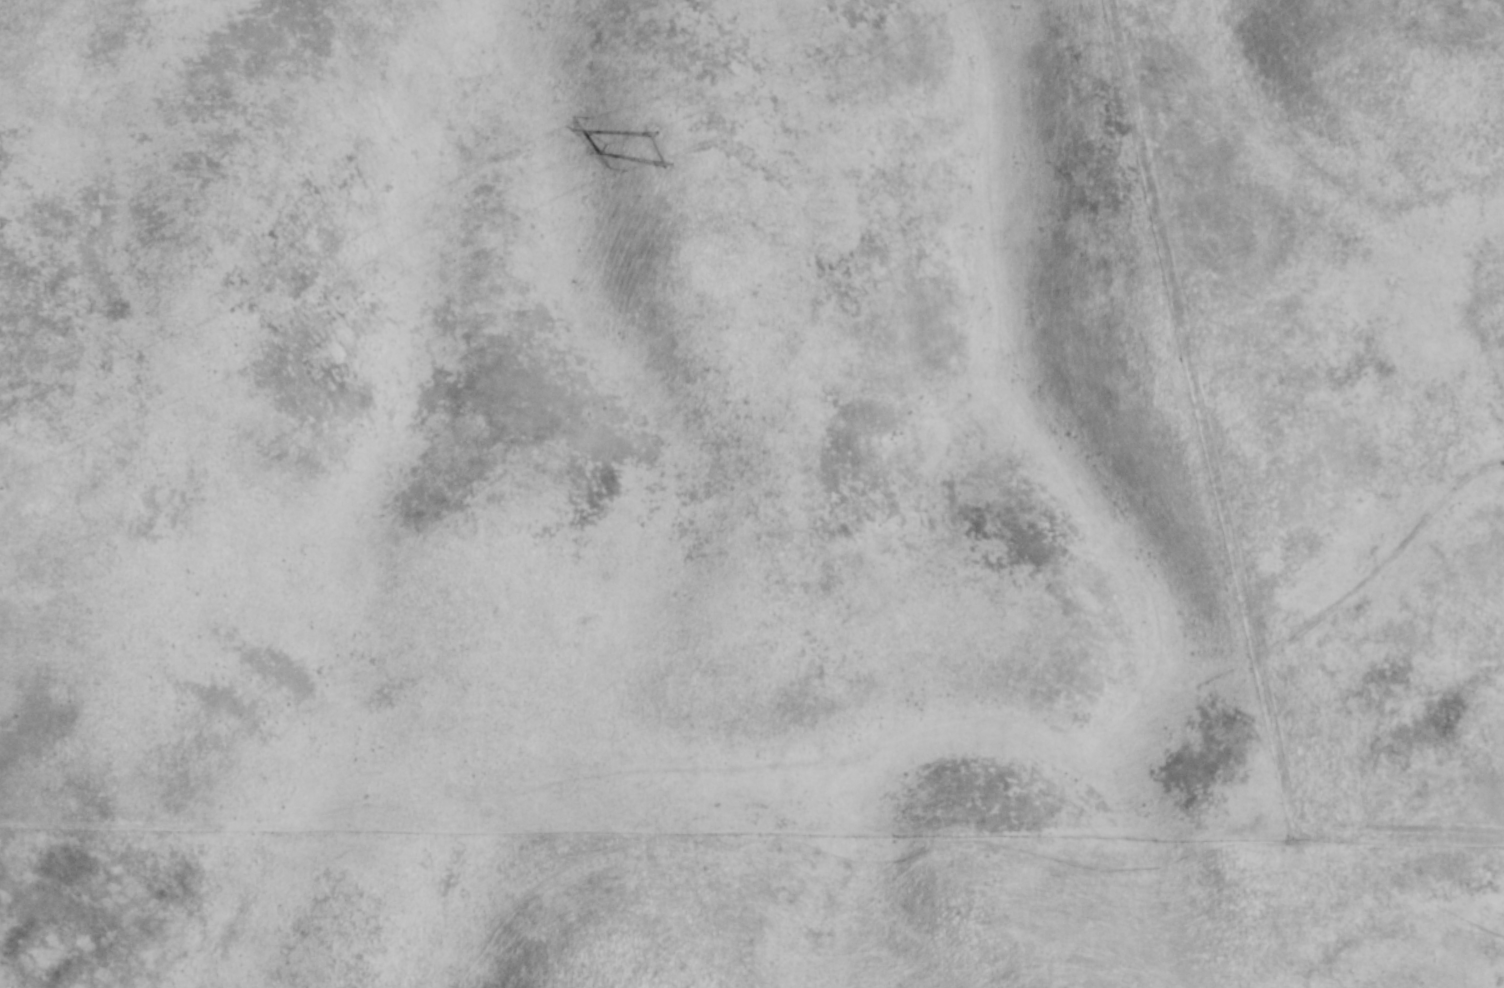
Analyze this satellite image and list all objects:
power tower: (664, 152)

